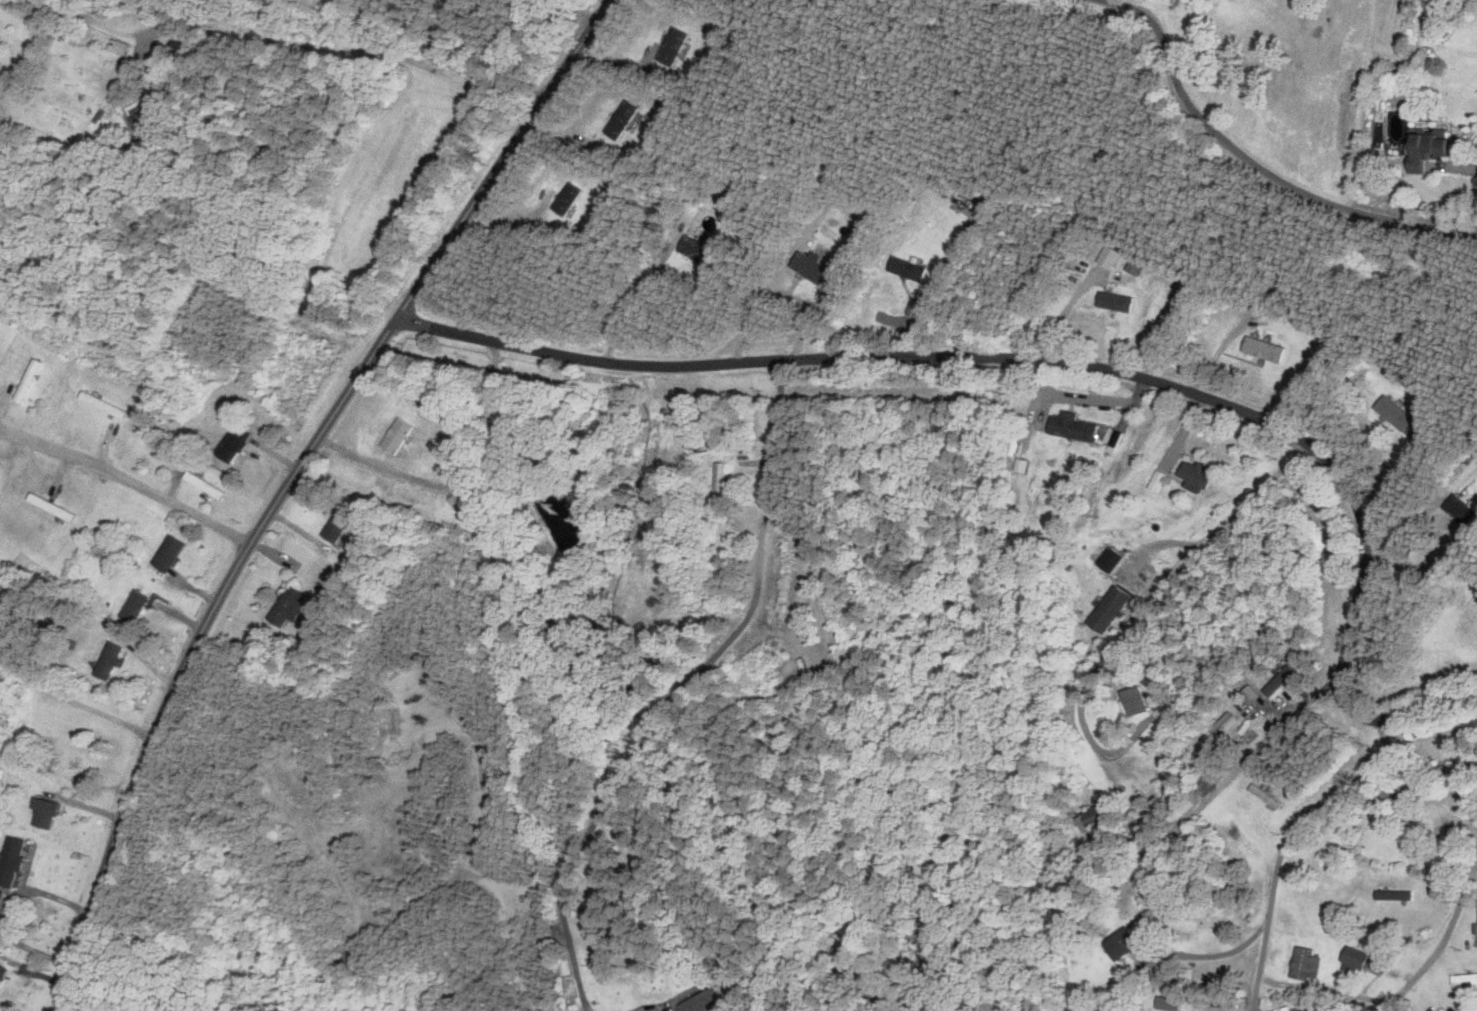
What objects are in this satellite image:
road: (585, 10)
road: (345, 33)
building: (123, 46)
building: (678, 47)
building: (627, 119)
building: (149, 120)
building: (1422, 149)
road: (1260, 162)
building: (573, 198)
building: (705, 250)
building: (817, 268)
building: (912, 268)
road: (640, 288)
building: (1121, 301)
building: (1268, 349)
road: (1071, 361)
building: (31, 380)
building: (106, 405)
building: (525, 407)
building: (1397, 416)
building: (1077, 427)
building: (402, 436)
building: (238, 443)
building: (0, 473)
road: (129, 476)
building: (1201, 476)
road: (289, 482)
building: (723, 484)
building: (207, 486)
building: (56, 508)
building: (1460, 511)
building: (341, 527)
building: (173, 553)
road: (1162, 588)
building: (140, 606)
building: (293, 608)
building: (1108, 609)
building: (114, 659)
road: (684, 690)
building: (1260, 697)
building: (1132, 700)
road: (76, 705)
building: (1233, 713)
building: (1451, 769)
road: (1222, 786)
building: (1385, 796)
building: (1267, 799)
building: (50, 814)
building: (1088, 818)
building: (1415, 828)
road: (1285, 845)
building: (15, 862)
building: (611, 890)
building: (1392, 895)
building: (2, 899)
road: (10, 910)
road: (1443, 937)
building: (1118, 943)
building: (1352, 957)
building: (1302, 963)
building: (1181, 974)
building: (4, 977)
building: (1463, 979)
building: (711, 1001)
building: (1282, 1008)

